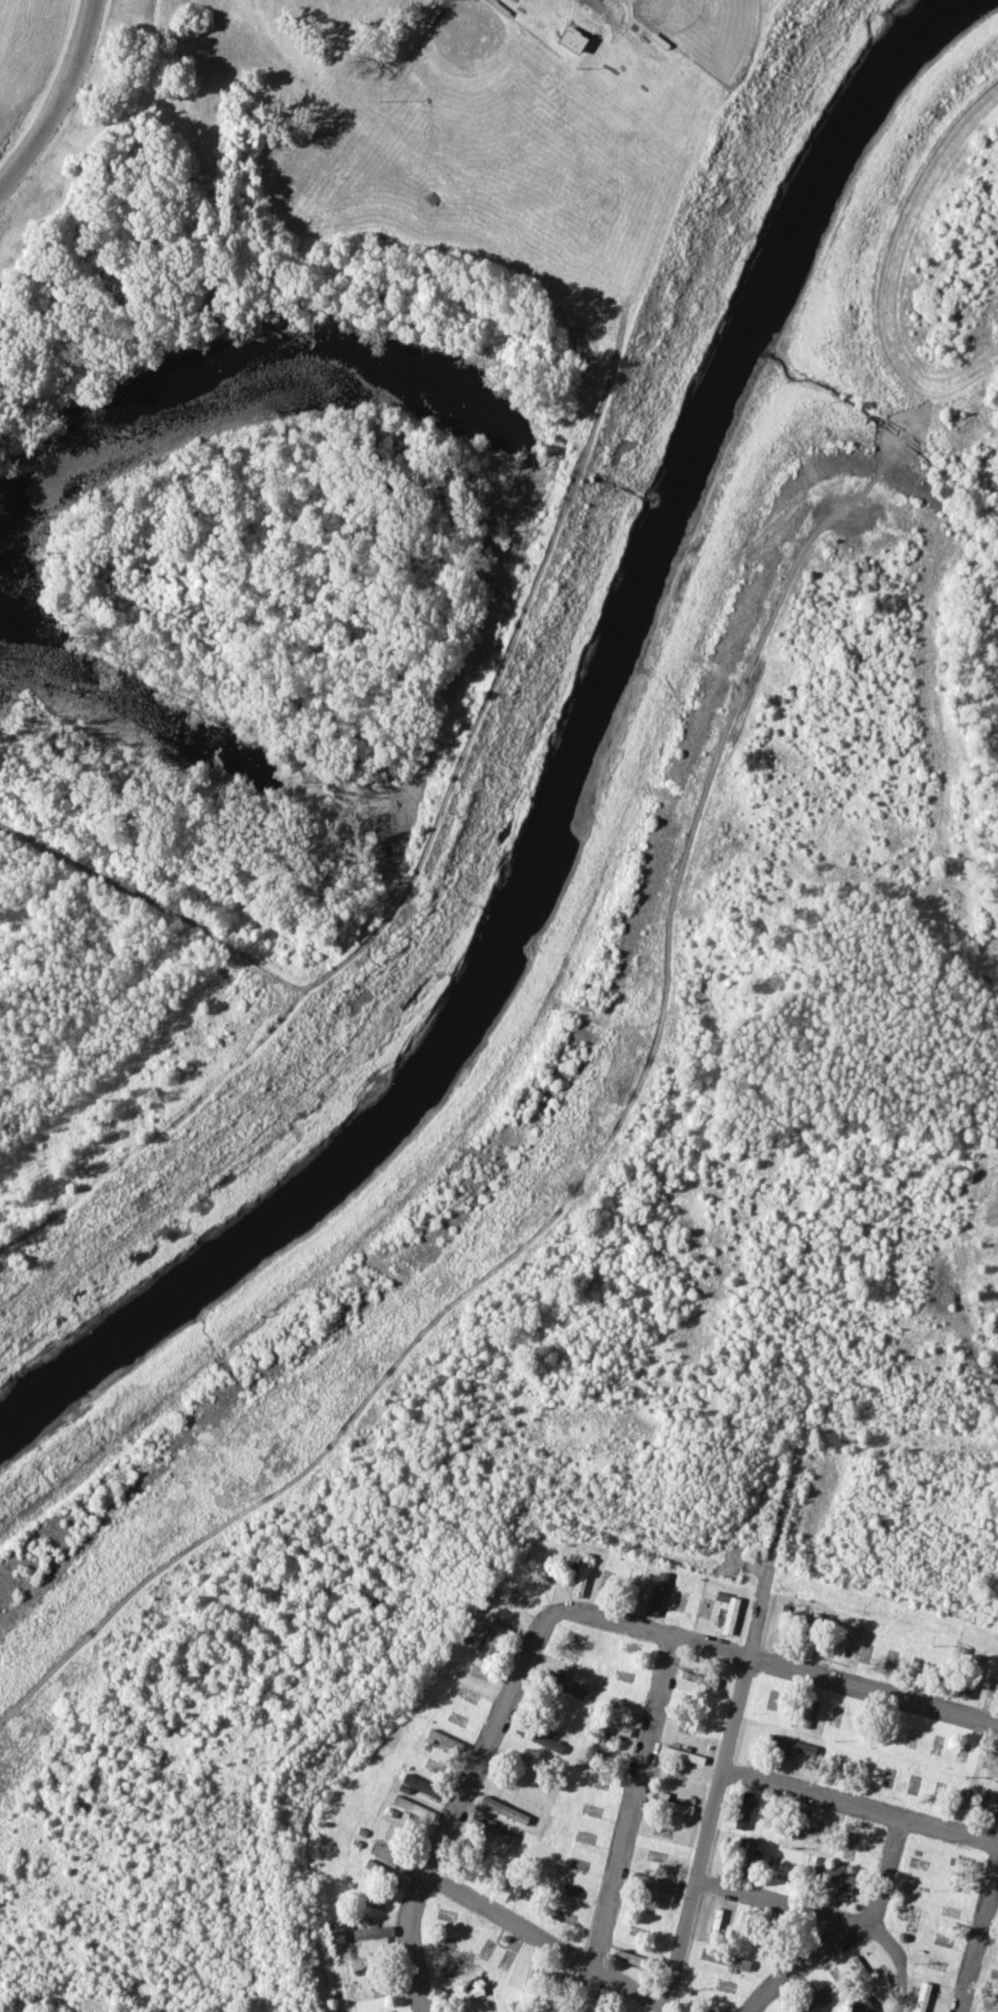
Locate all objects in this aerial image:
park: (705, 31)
building: (572, 39)
park: (471, 58)
road: (63, 101)
park: (320, 539)
river: (567, 785)
road: (510, 1060)
road: (568, 1202)
building: (580, 1575)
building: (656, 1593)
building: (729, 1614)
building: (810, 1633)
building: (698, 1677)
building: (565, 1685)
road: (873, 1692)
building: (806, 1712)
road: (503, 1718)
building: (613, 1727)
building: (438, 1737)
building: (790, 1744)
building: (418, 1785)
road: (718, 1786)
building: (988, 1803)
building: (410, 1805)
building: (678, 1806)
road: (860, 1807)
building: (743, 1809)
road: (628, 1824)
building: (812, 1829)
building: (490, 1830)
building: (383, 1848)
building: (747, 1855)
building: (836, 1877)
building: (652, 1882)
road: (780, 1901)
building: (372, 1931)
road: (848, 1933)
road: (977, 1936)
road: (548, 1941)
building: (628, 1957)
building: (724, 1957)
road: (898, 1960)
building: (463, 1993)
building: (921, 1996)
building: (811, 1999)
building: (860, 2006)

